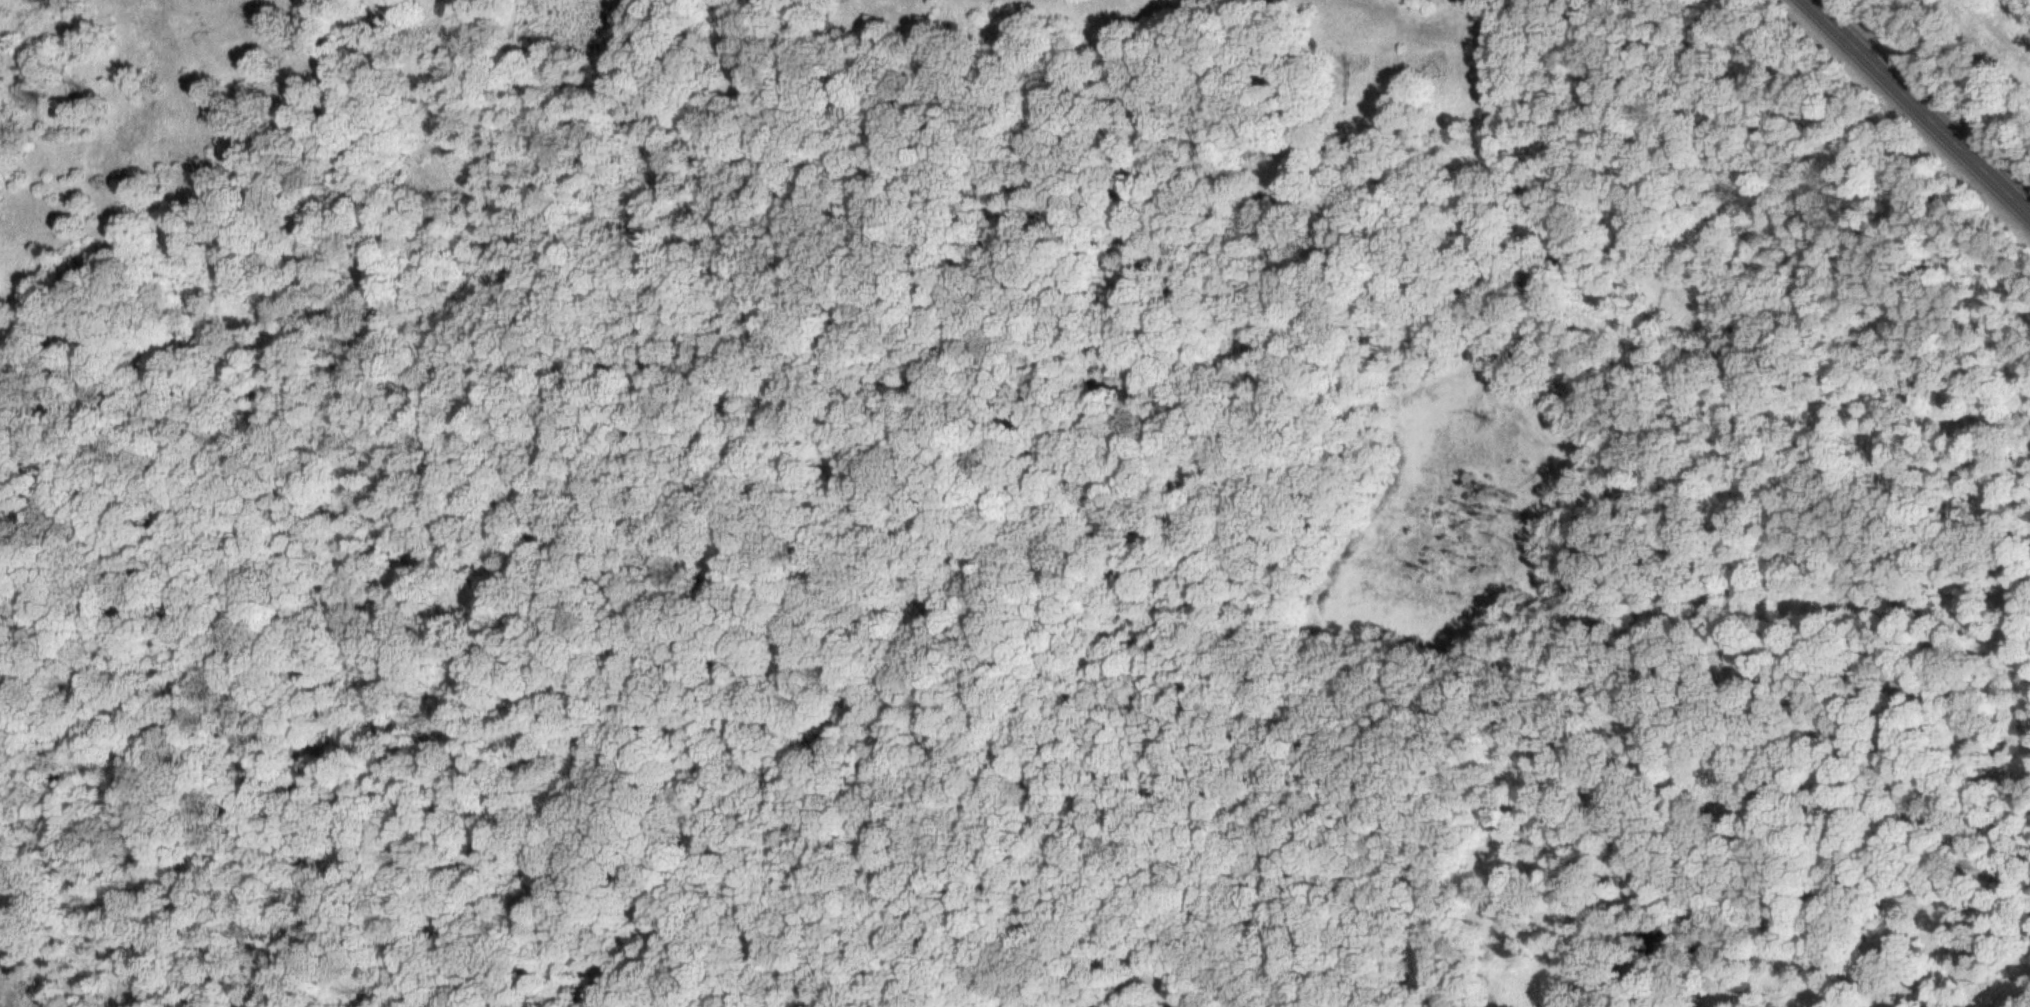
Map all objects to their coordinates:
road: (1926, 100)

